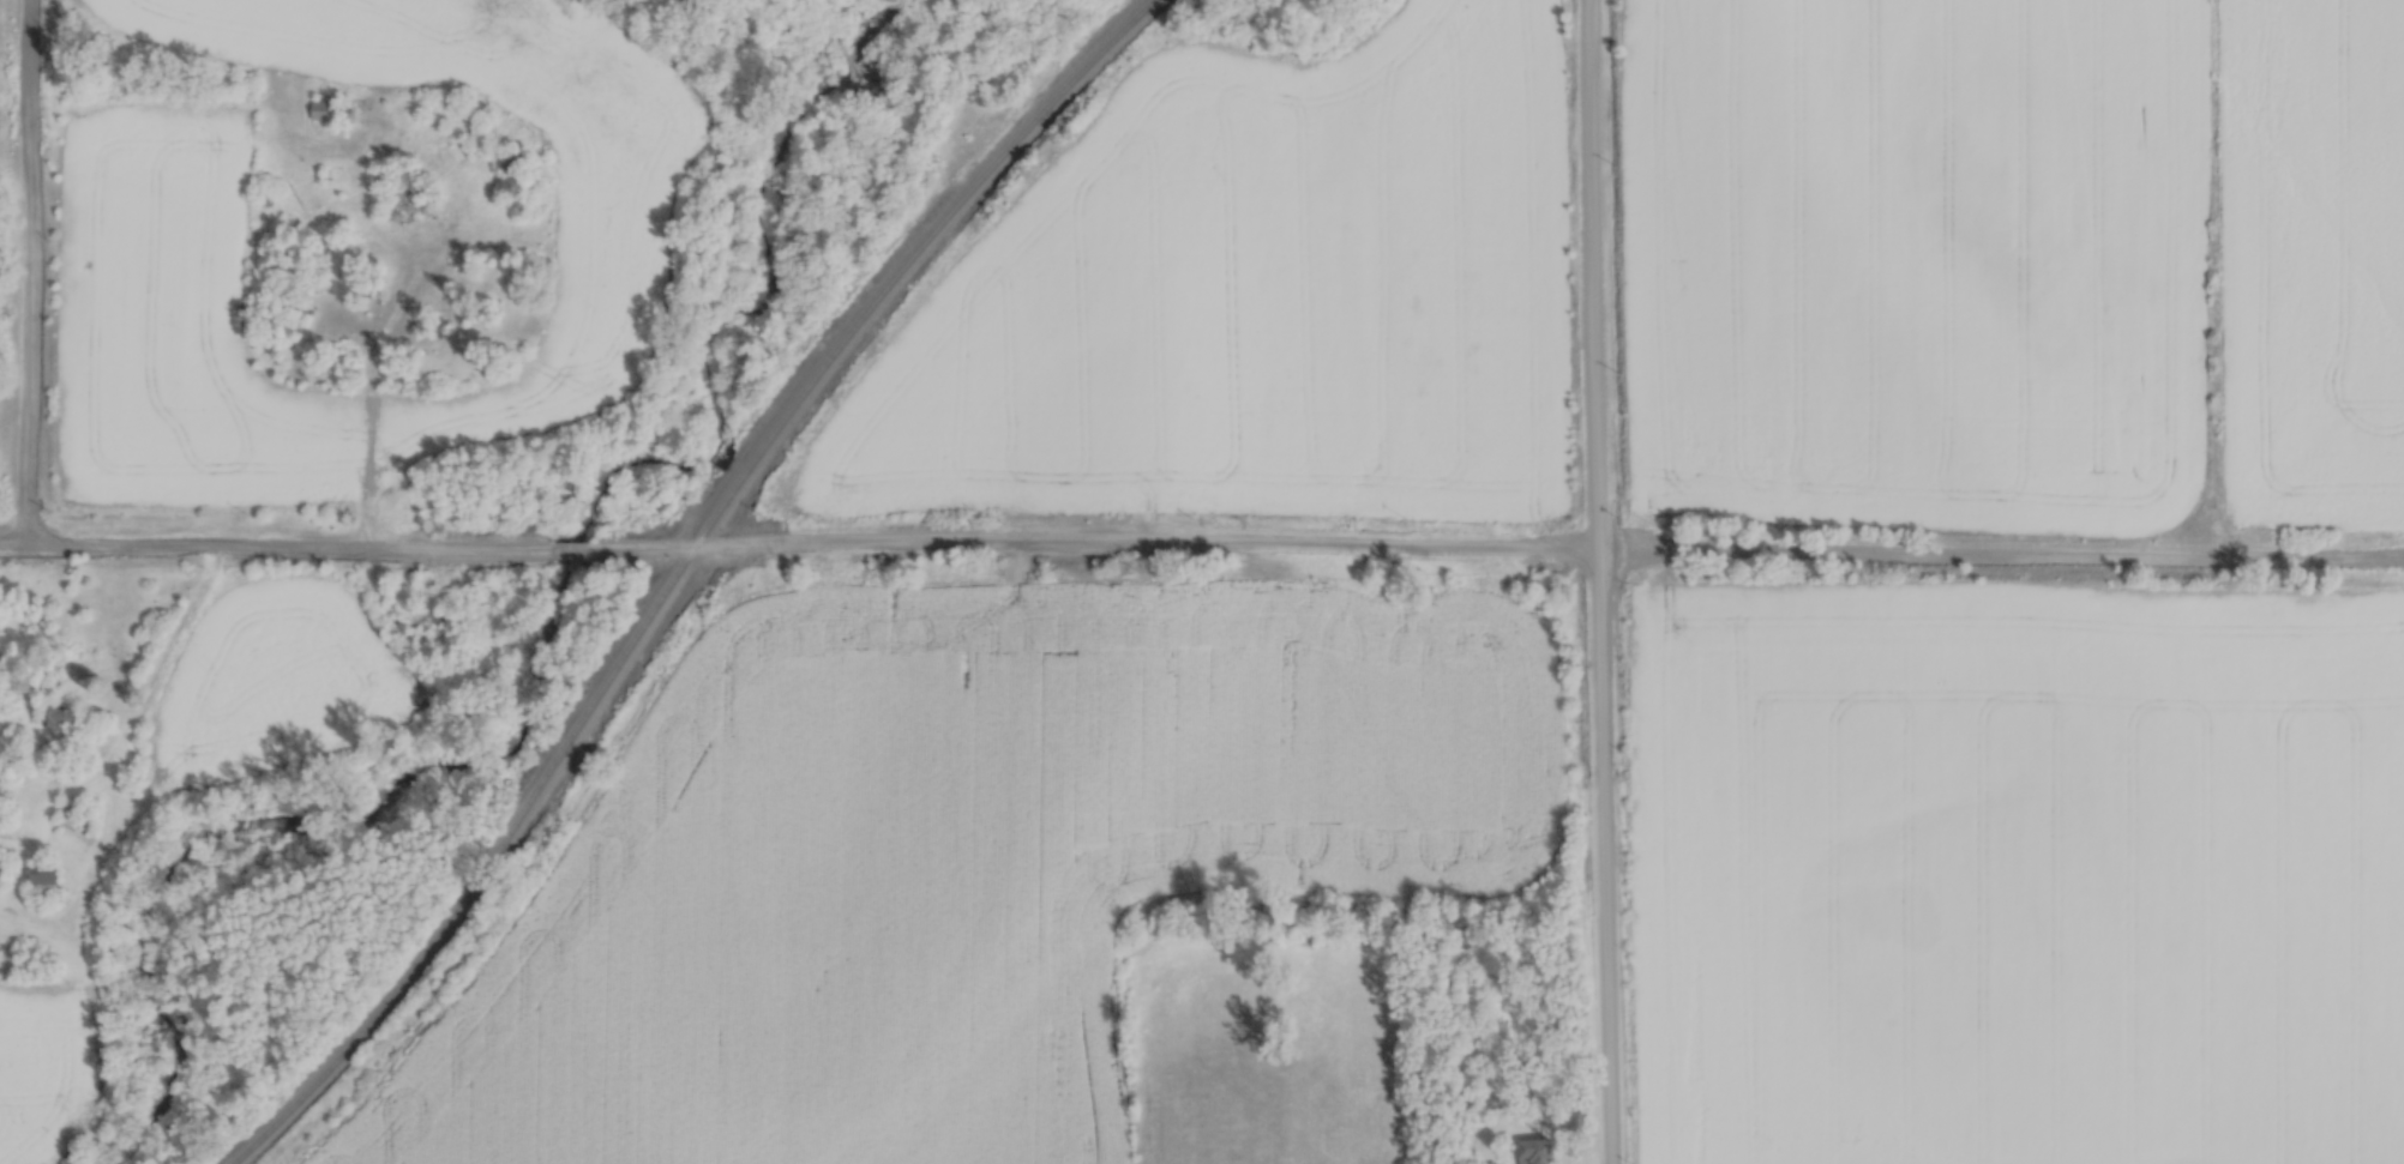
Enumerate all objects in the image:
building: (338, 110)
building: (518, 186)
road: (30, 275)
road: (367, 462)
road: (1201, 547)
railway: (674, 572)
road: (1598, 581)
road: (179, 639)
building: (65, 713)
building: (5, 867)
building: (49, 877)
building: (1543, 1150)

